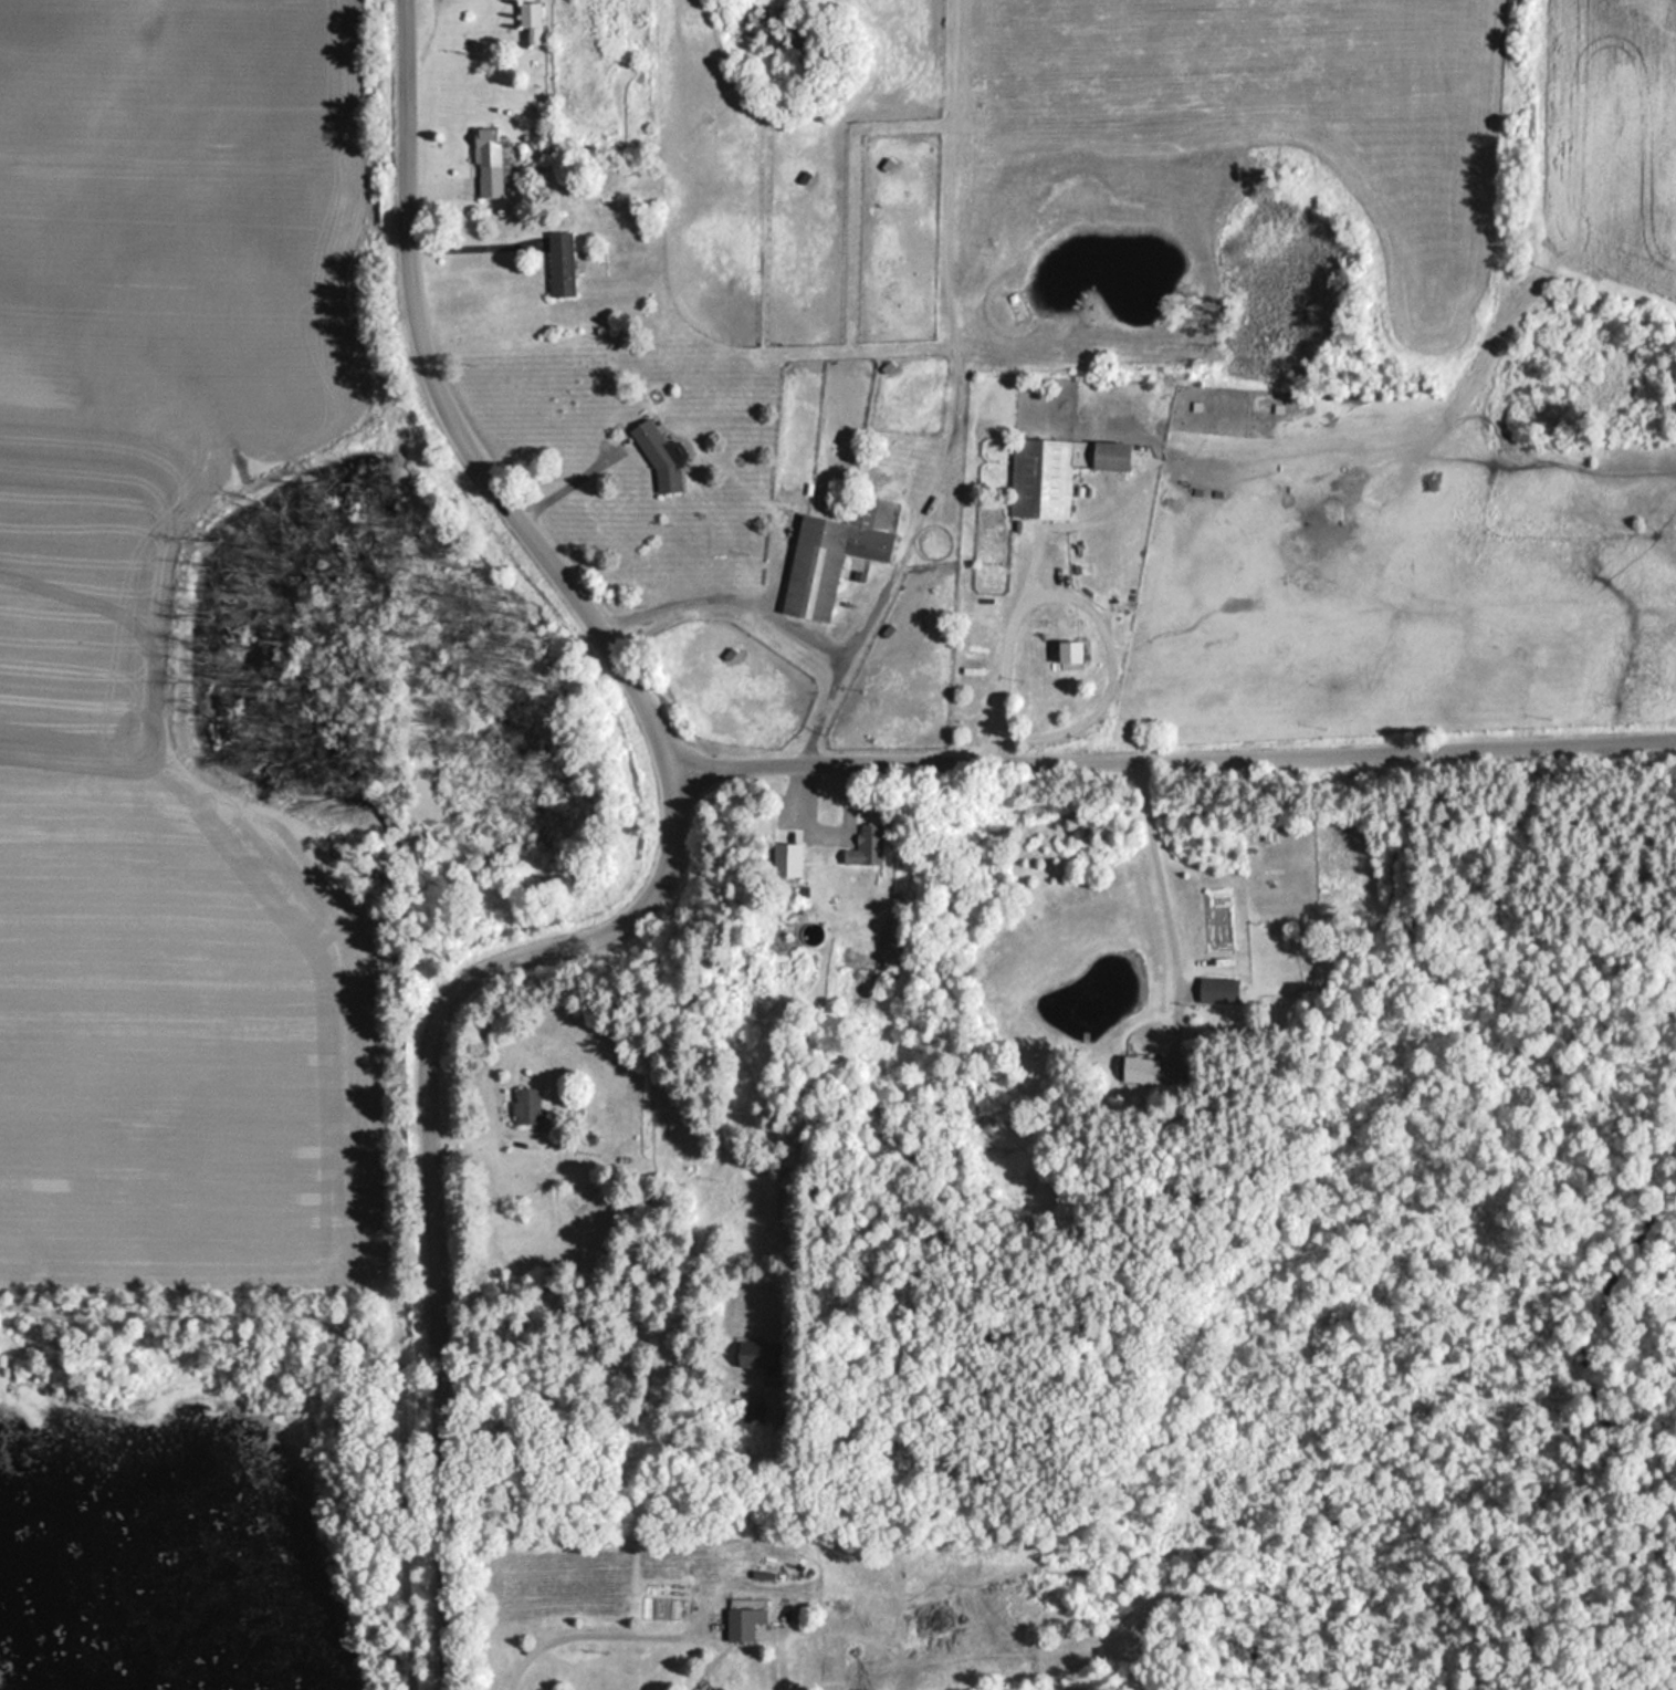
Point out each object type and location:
building: (528, 21)
building: (1181, 42)
building: (696, 124)
building: (485, 163)
building: (557, 265)
building: (656, 453)
building: (1052, 472)
building: (830, 553)
building: (1067, 651)
road: (1172, 748)
building: (862, 846)
road: (653, 878)
building: (1215, 991)
building: (1140, 1070)
building: (523, 1106)
building: (758, 1366)
building: (753, 1415)
building: (736, 1624)

